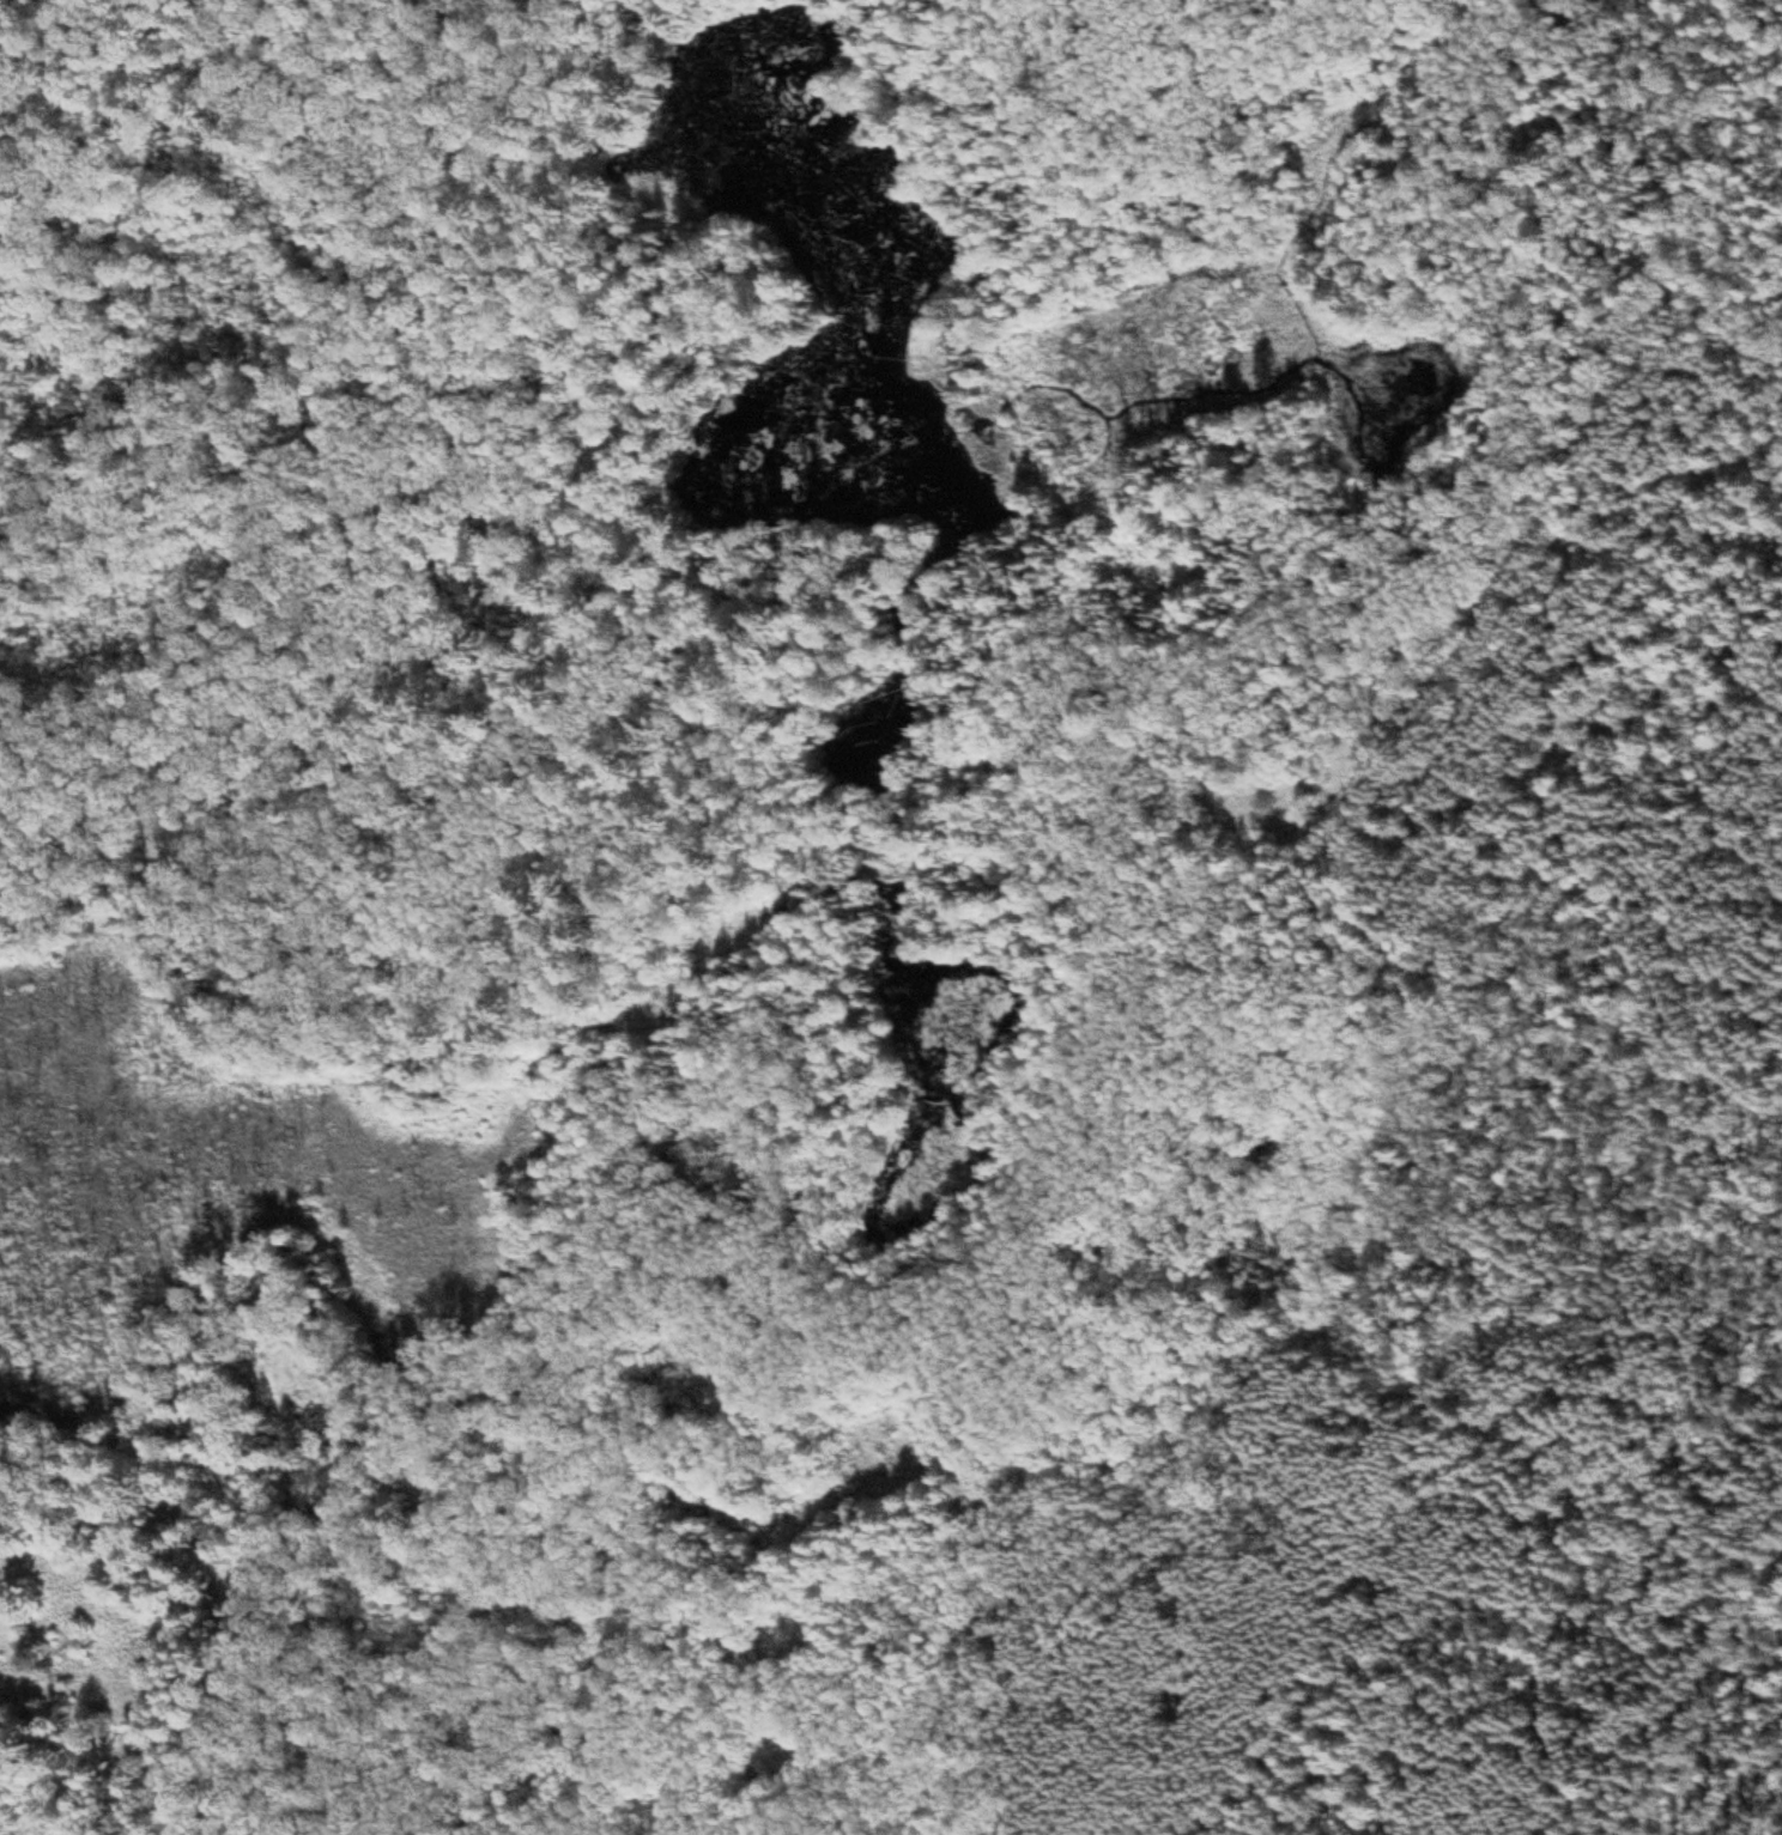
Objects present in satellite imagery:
road: (1745, 1727)

